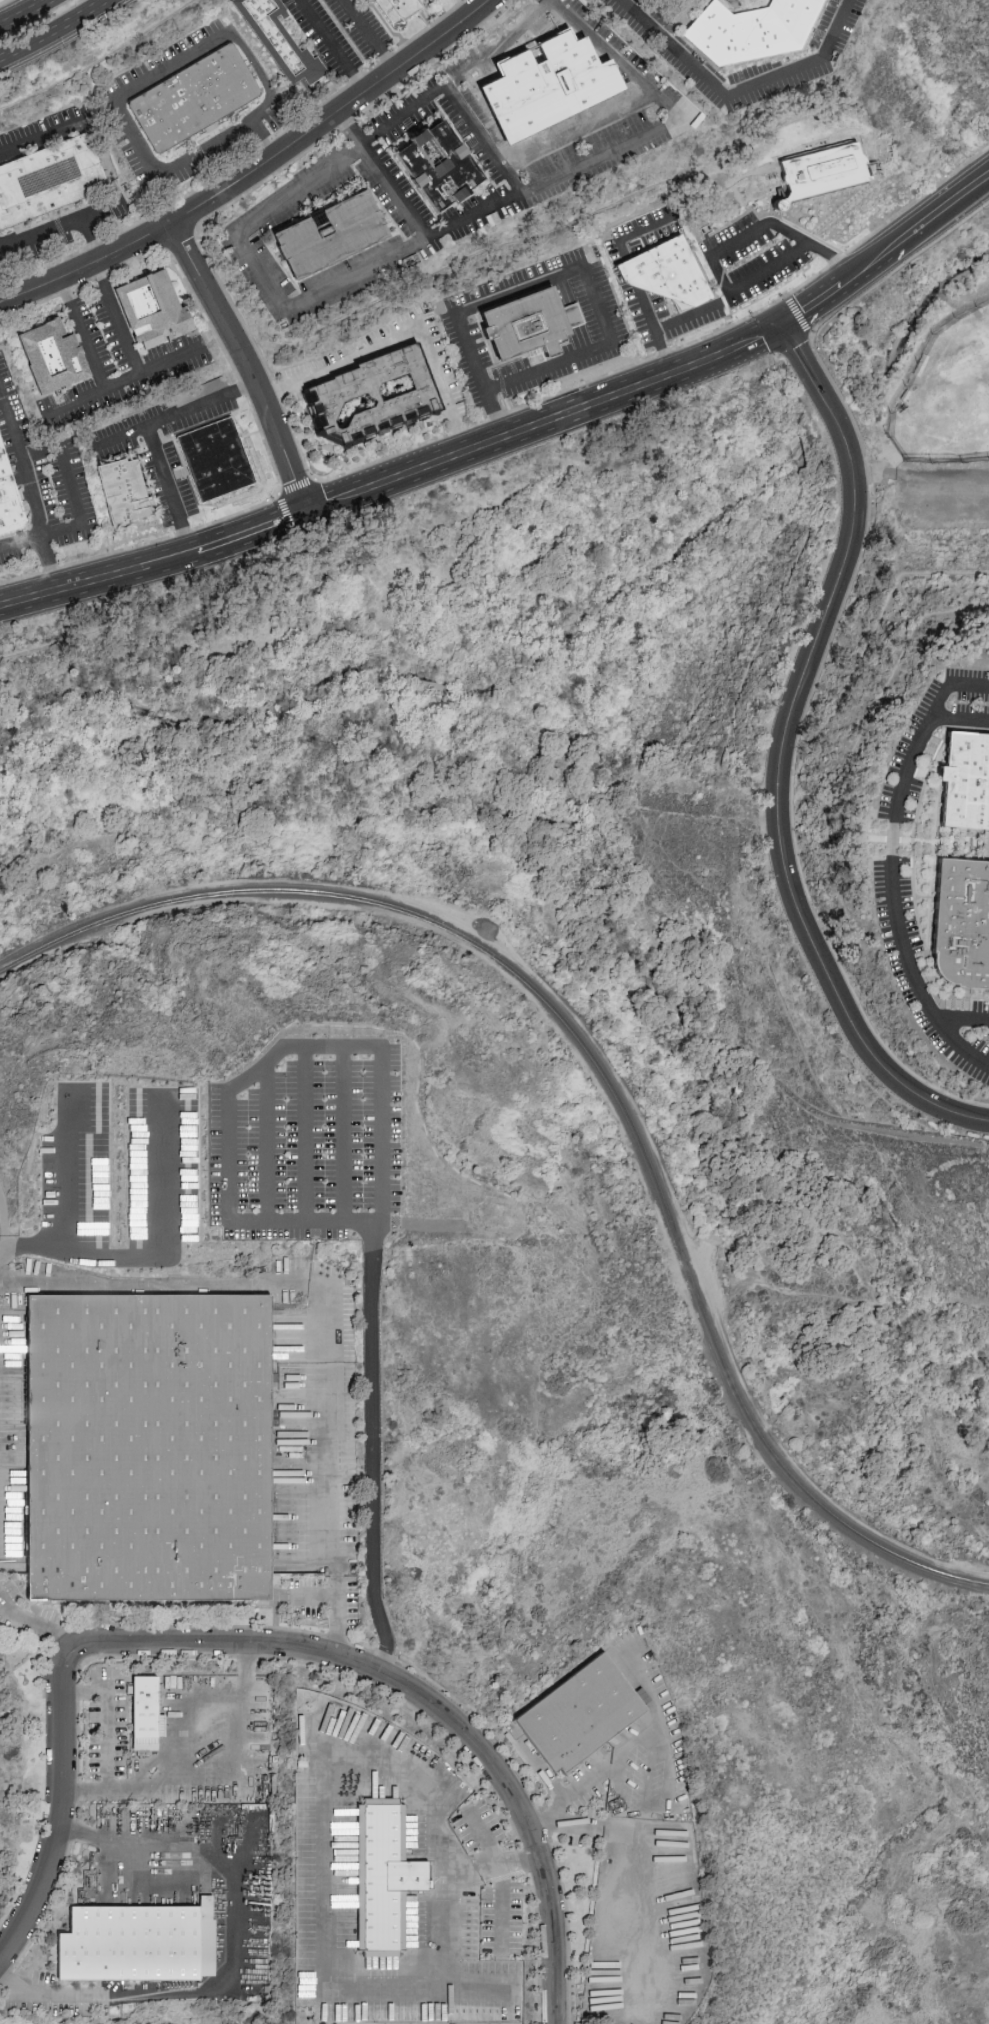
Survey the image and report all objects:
road: (5, 2)
building: (395, 10)
road: (23, 12)
building: (755, 31)
road: (58, 34)
road: (367, 35)
building: (279, 42)
road: (330, 45)
road: (630, 72)
road: (133, 87)
building: (547, 87)
road: (738, 92)
building: (194, 99)
road: (332, 112)
road: (278, 125)
road: (347, 128)
road: (579, 131)
road: (261, 136)
road: (39, 139)
road: (241, 159)
building: (438, 167)
building: (825, 173)
road: (266, 176)
building: (52, 182)
road: (294, 192)
road: (60, 224)
road: (919, 227)
road: (637, 234)
road: (91, 236)
building: (329, 238)
road: (740, 239)
road: (55, 253)
road: (833, 257)
road: (87, 265)
road: (581, 265)
building: (667, 271)
road: (630, 272)
road: (817, 304)
road: (714, 305)
building: (151, 312)
road: (117, 317)
building: (526, 328)
traffic signals: (784, 328)
road: (80, 334)
road: (403, 338)
road: (663, 354)
building: (51, 359)
road: (248, 366)
road: (122, 381)
park: (939, 386)
building: (373, 399)
road: (495, 415)
road: (176, 416)
road: (546, 425)
road: (11, 426)
building: (217, 462)
road: (69, 483)
road: (169, 490)
building: (124, 495)
road: (32, 496)
building: (8, 503)
road: (21, 540)
road: (47, 563)
road: (154, 563)
road: (959, 721)
road: (783, 756)
building: (969, 790)
road: (673, 813)
road: (84, 840)
road: (891, 854)
building: (964, 929)
road: (955, 1045)
railway: (600, 1072)
road: (306, 1132)
road: (345, 1133)
road: (267, 1141)
road: (61, 1167)
road: (380, 1215)
road: (302, 1219)
road: (157, 1252)
road: (168, 1285)
building: (147, 1457)
road: (336, 1480)
road: (32, 1639)
road: (427, 1704)
building: (145, 1710)
building: (579, 1716)
road: (107, 1719)
road: (646, 1732)
road: (217, 1750)
road: (549, 1777)
road: (87, 1787)
road: (657, 1798)
road: (66, 1812)
road: (486, 1836)
road: (320, 1852)
building: (384, 1874)
road: (637, 1880)
road: (501, 1903)
building: (136, 1941)
road: (236, 1953)
road: (480, 1988)
building: (250, 1989)

